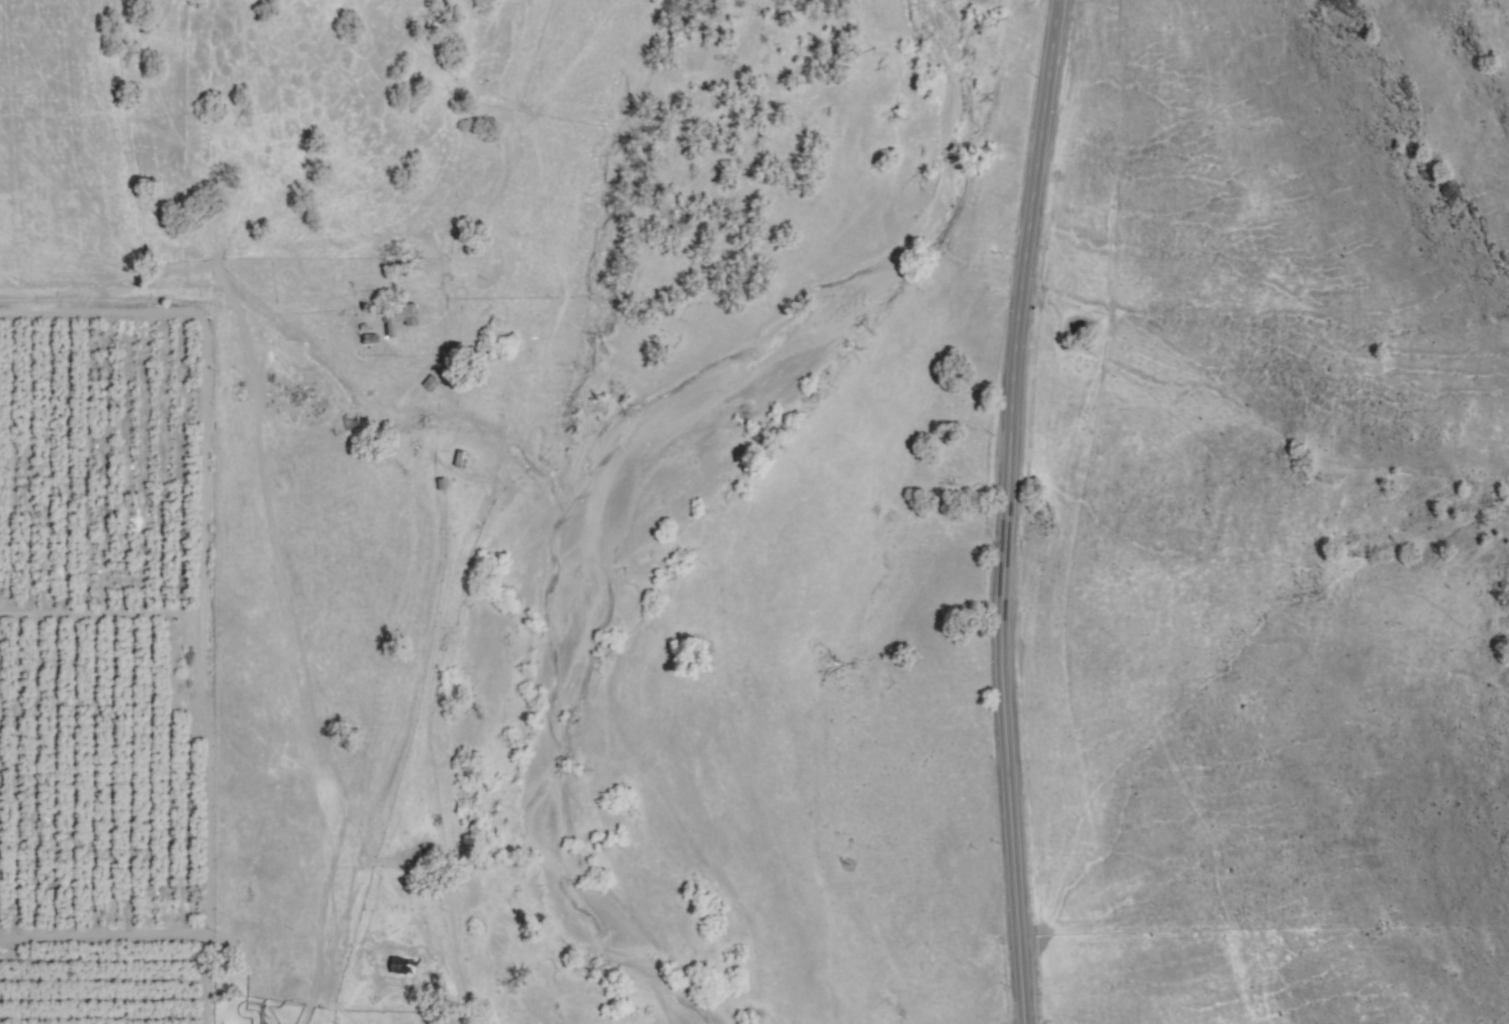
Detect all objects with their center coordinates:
building: (398, 317)
crop: (372, 359)
building: (428, 383)
building: (458, 459)
road: (1006, 510)
crop: (769, 598)
road: (206, 998)

